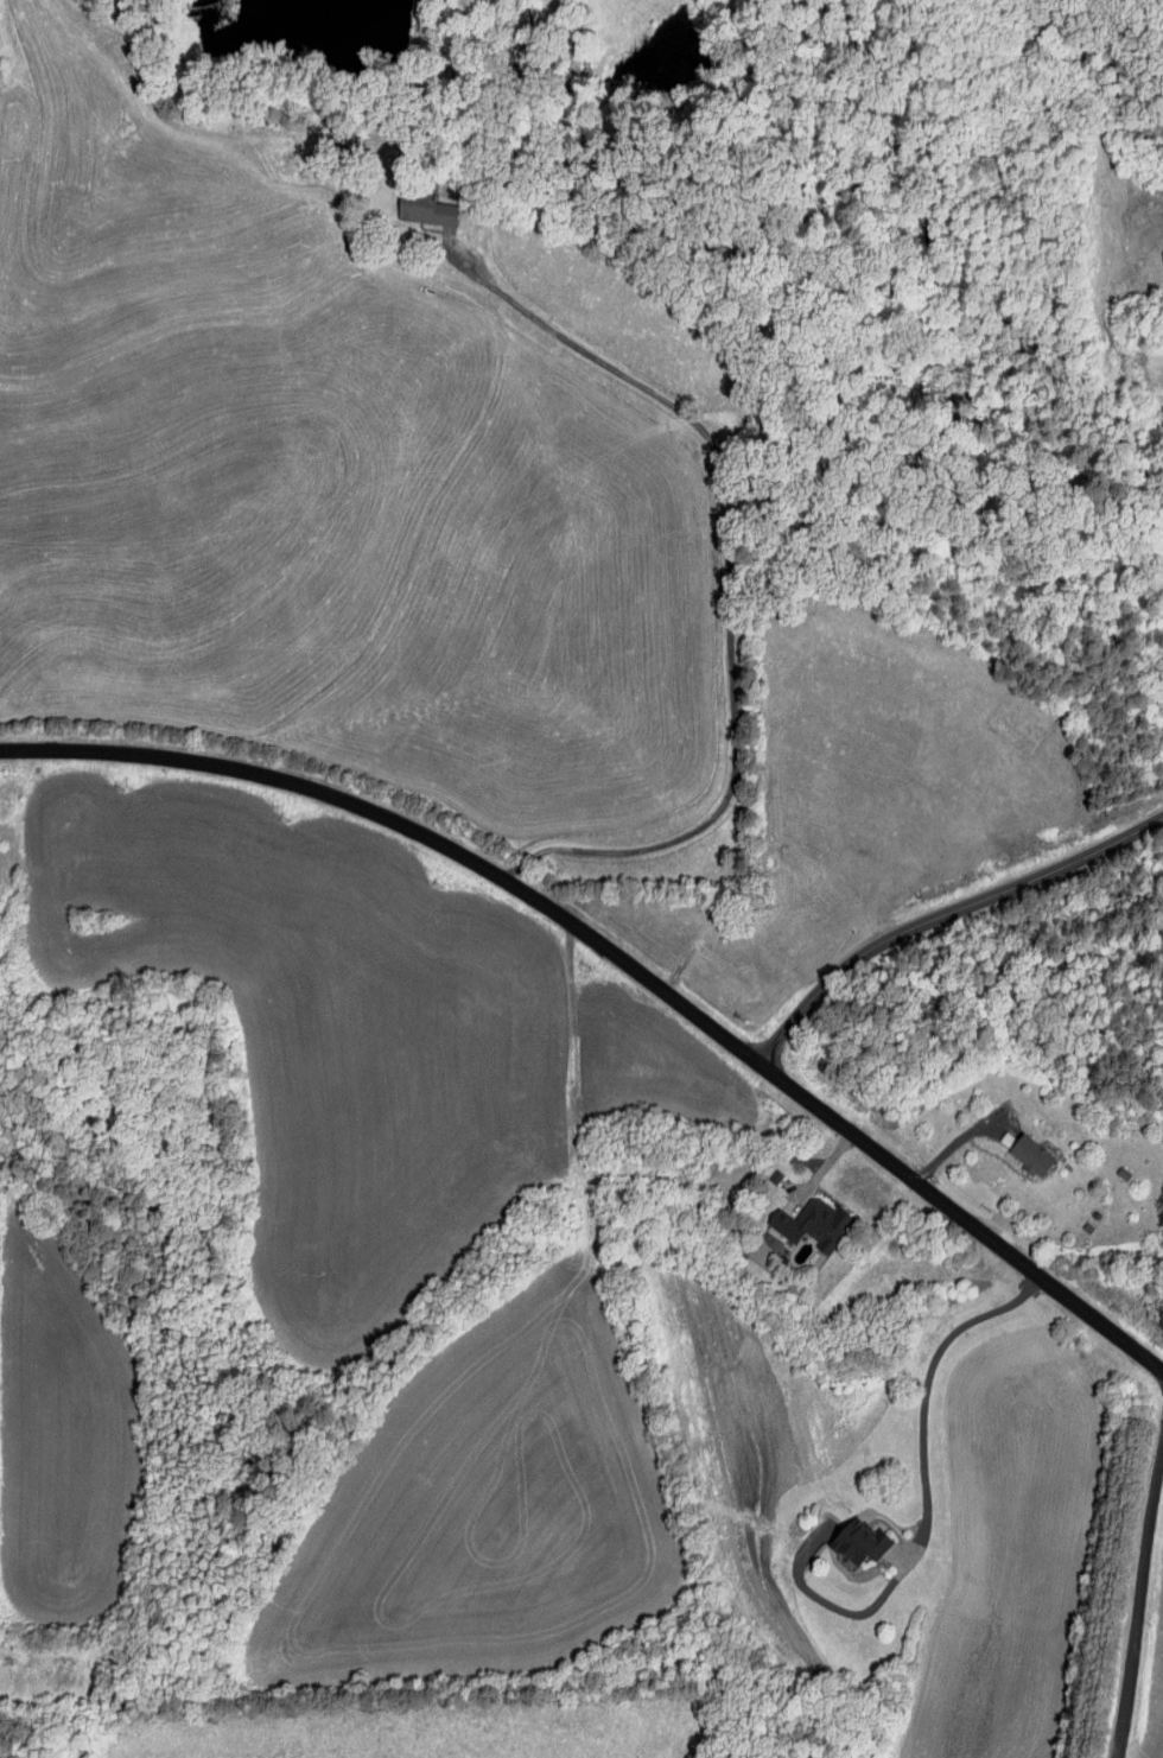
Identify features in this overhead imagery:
building: (422, 207)
road: (729, 567)
road: (942, 915)
road: (625, 963)
road: (958, 1141)
building: (1027, 1153)
road: (826, 1170)
building: (809, 1223)
road: (927, 1498)
building: (856, 1540)
road: (1140, 1607)

